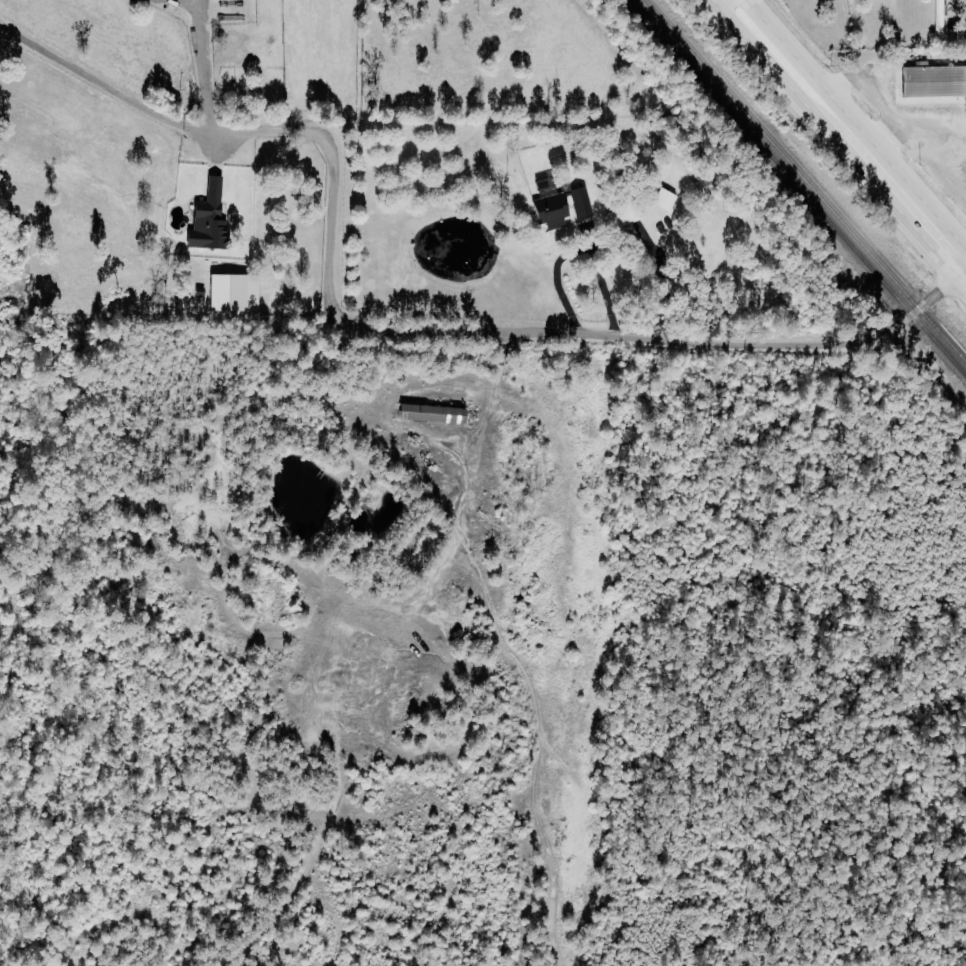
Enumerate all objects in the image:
road: (205, 67)
road: (860, 84)
building: (929, 85)
road: (910, 125)
road: (848, 134)
road: (932, 170)
railway: (805, 181)
railway: (799, 188)
building: (662, 199)
building: (557, 204)
building: (623, 213)
building: (204, 217)
road: (580, 252)
road: (664, 284)
building: (229, 292)
road: (387, 333)
building: (427, 414)
road: (338, 633)
road: (535, 745)

